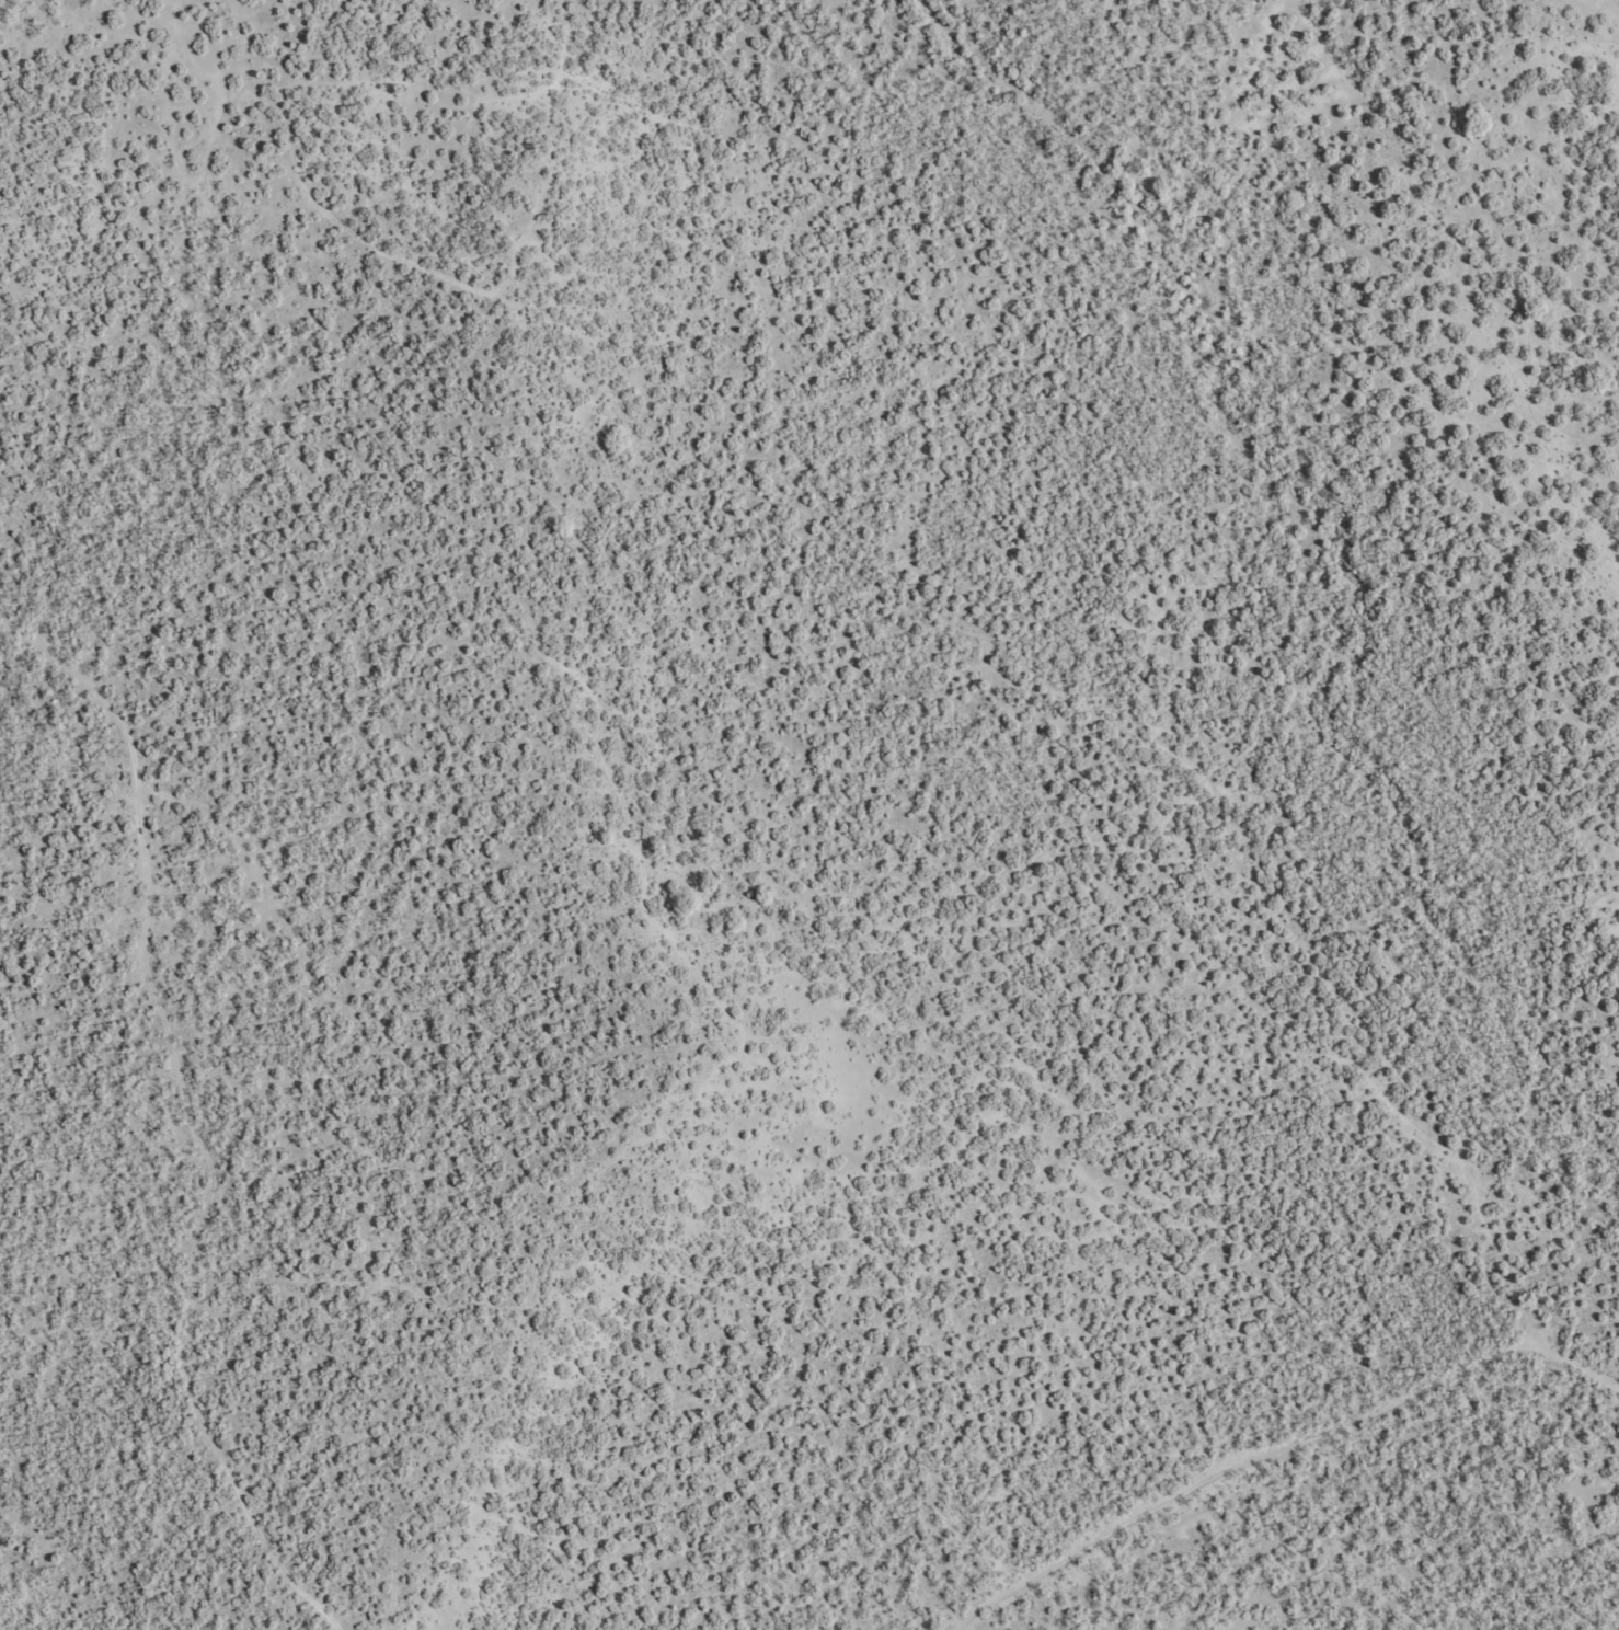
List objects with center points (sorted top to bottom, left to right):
road: (1318, 1527)

